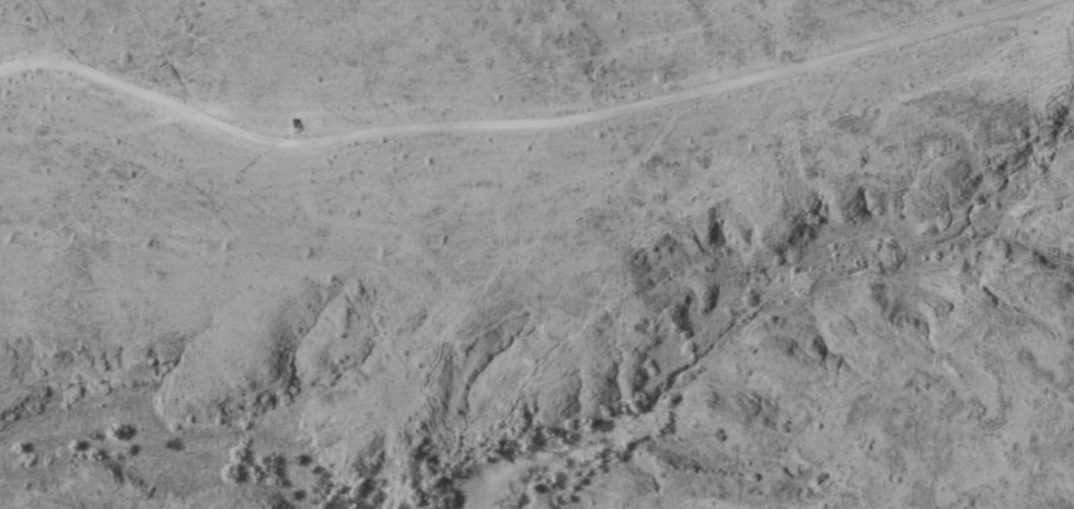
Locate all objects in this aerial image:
road: (534, 142)

